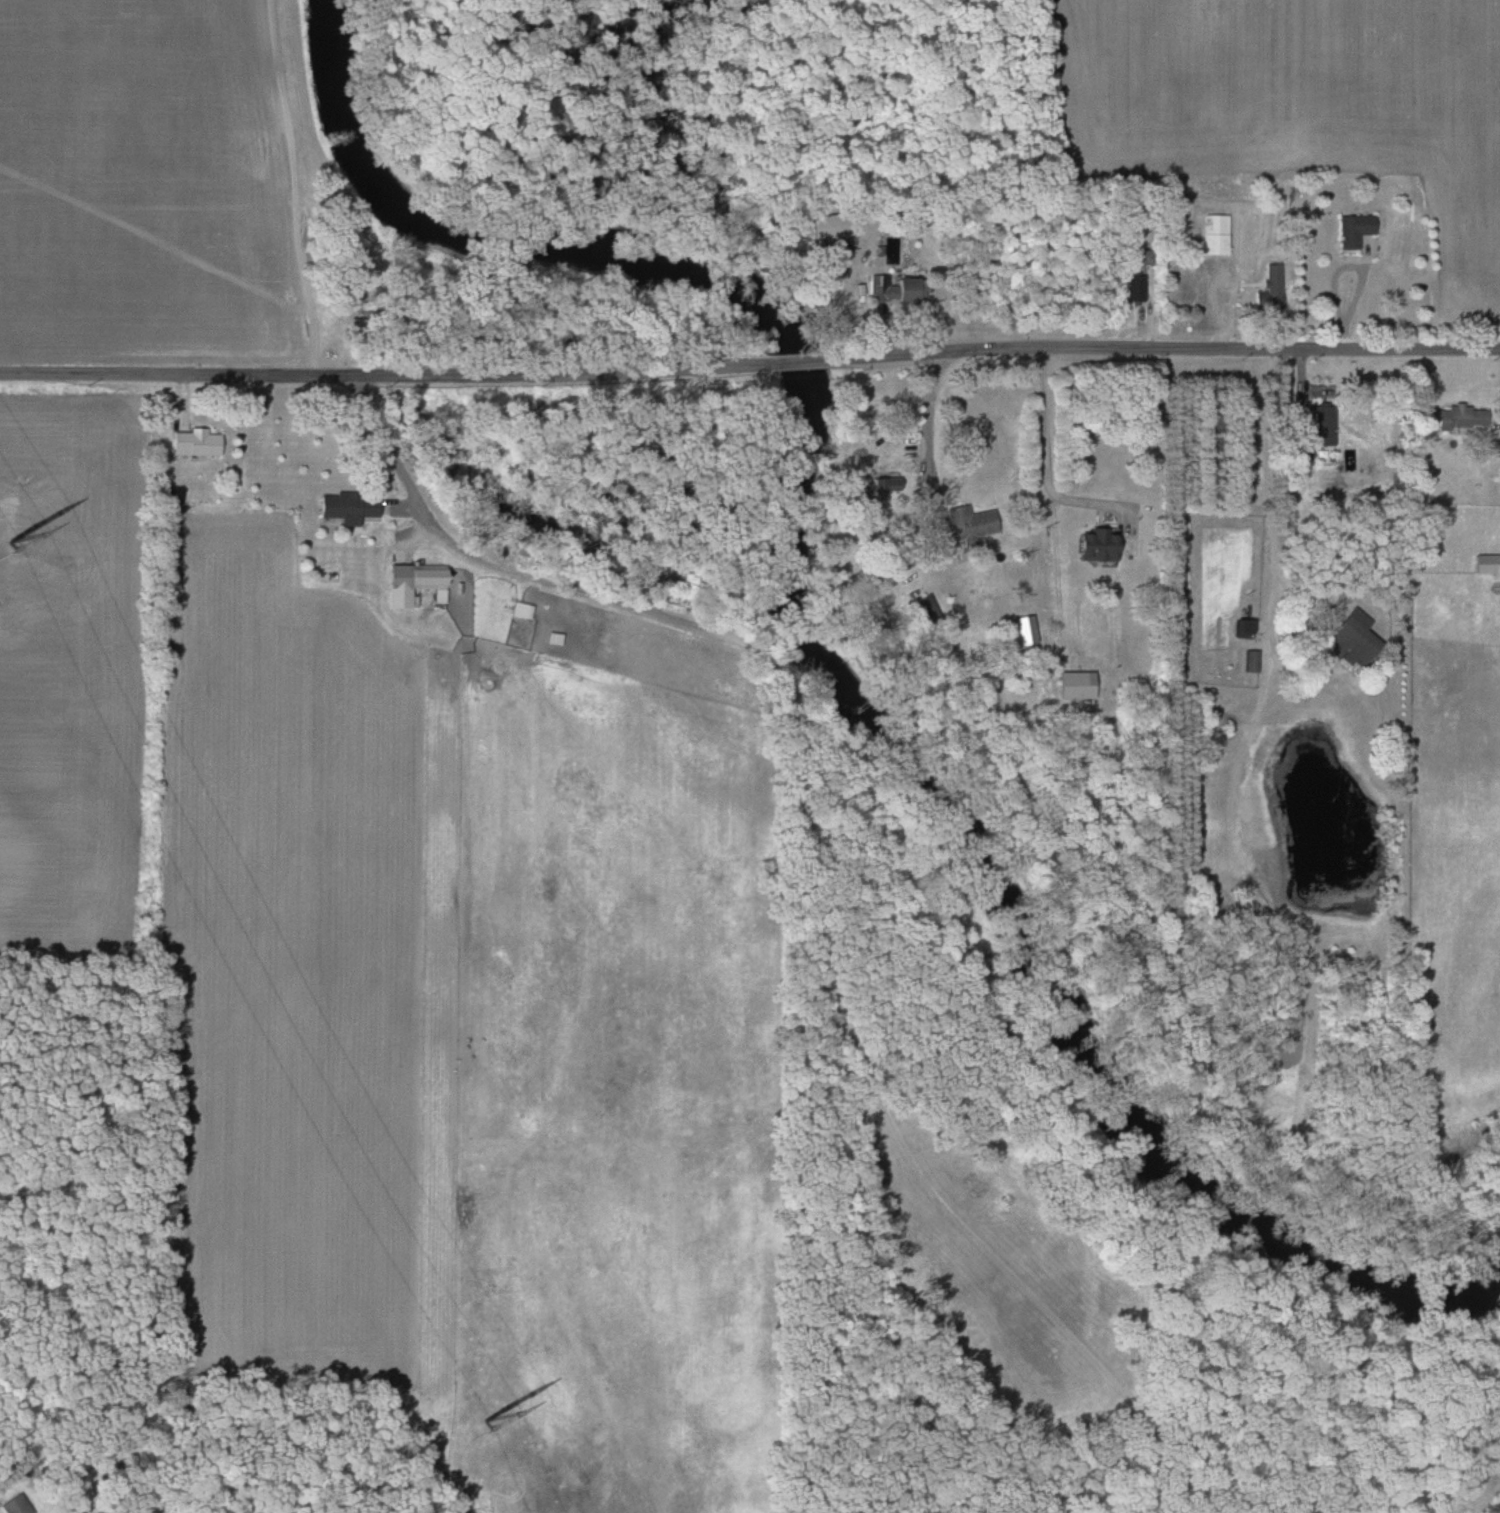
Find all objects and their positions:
building: (1352, 231)
building: (1215, 234)
building: (1135, 288)
building: (1270, 290)
road: (1164, 348)
road: (796, 363)
road: (381, 375)
building: (1461, 417)
road: (930, 418)
building: (1324, 424)
building: (195, 442)
road: (1046, 454)
building: (886, 486)
road: (1273, 492)
building: (346, 508)
building: (970, 523)
power tower: (9, 541)
building: (1096, 544)
building: (1487, 563)
building: (415, 577)
building: (521, 610)
building: (924, 612)
building: (1243, 628)
building: (1349, 642)
river: (830, 652)
building: (1251, 661)
road: (809, 870)
power tower: (484, 1420)
building: (18, 1505)

